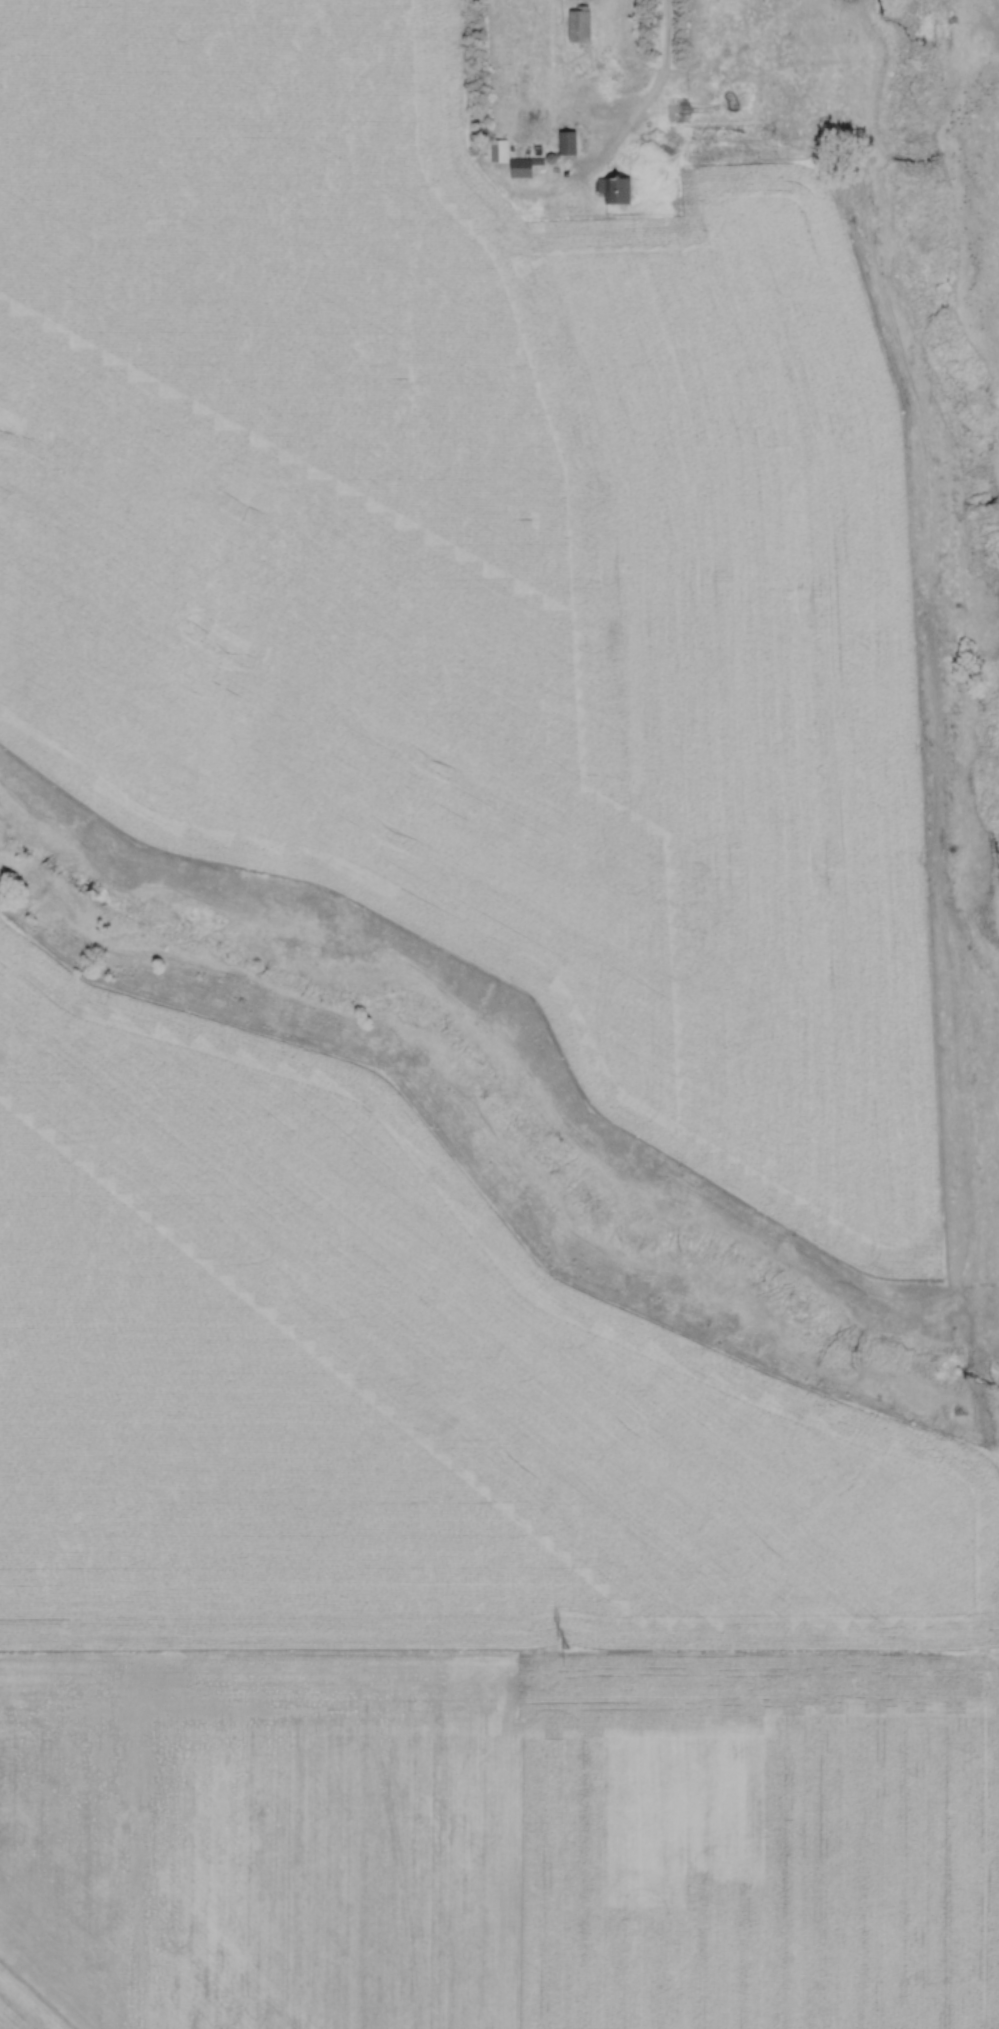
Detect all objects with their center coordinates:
road: (459, 105)
building: (676, 110)
building: (503, 151)
building: (525, 167)
power tower: (569, 1647)

